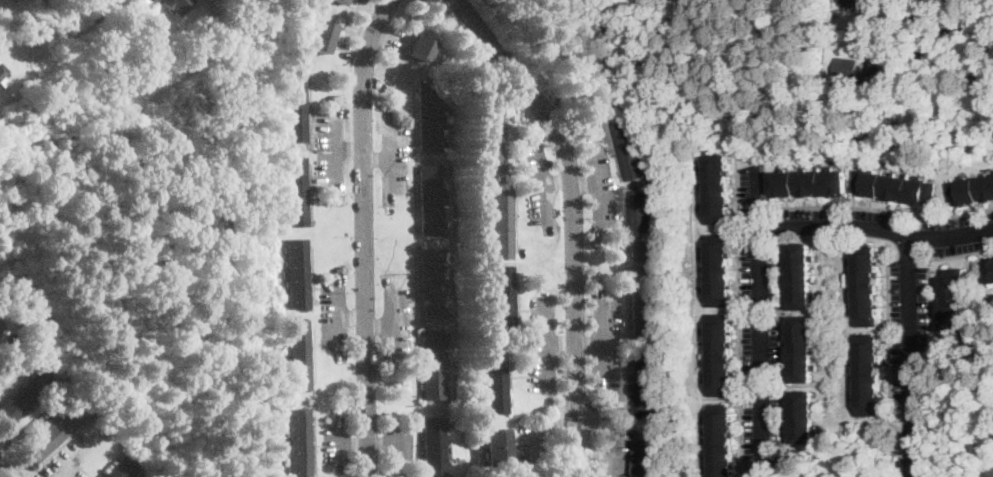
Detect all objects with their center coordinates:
building: (154, 0)
building: (145, 1)
building: (342, 1)
building: (850, 3)
building: (176, 5)
building: (966, 5)
building: (211, 31)
road: (361, 31)
building: (321, 36)
road: (471, 39)
building: (222, 48)
building: (420, 48)
building: (139, 54)
building: (845, 66)
building: (3, 75)
building: (838, 81)
building: (295, 106)
building: (429, 117)
building: (5, 126)
building: (492, 143)
building: (629, 144)
road: (335, 146)
building: (124, 152)
road: (336, 163)
building: (808, 183)
building: (716, 188)
building: (894, 188)
building: (297, 191)
building: (971, 191)
road: (572, 194)
building: (430, 200)
building: (502, 223)
building: (641, 225)
road: (874, 228)
road: (363, 235)
building: (717, 270)
building: (989, 271)
building: (297, 273)
building: (800, 276)
building: (432, 283)
building: (865, 284)
building: (503, 299)
building: (954, 303)
building: (642, 304)
road: (758, 314)
building: (1, 326)
building: (801, 349)
building: (299, 354)
building: (719, 354)
road: (911, 356)
building: (433, 364)
building: (868, 372)
building: (496, 378)
building: (643, 382)
parking lot: (1, 387)
building: (25, 397)
building: (801, 417)
building: (54, 432)
building: (719, 440)
building: (301, 442)
building: (496, 446)
building: (434, 448)
building: (646, 458)
parking lot: (61, 467)
building: (120, 469)
road: (66, 471)
building: (989, 474)

